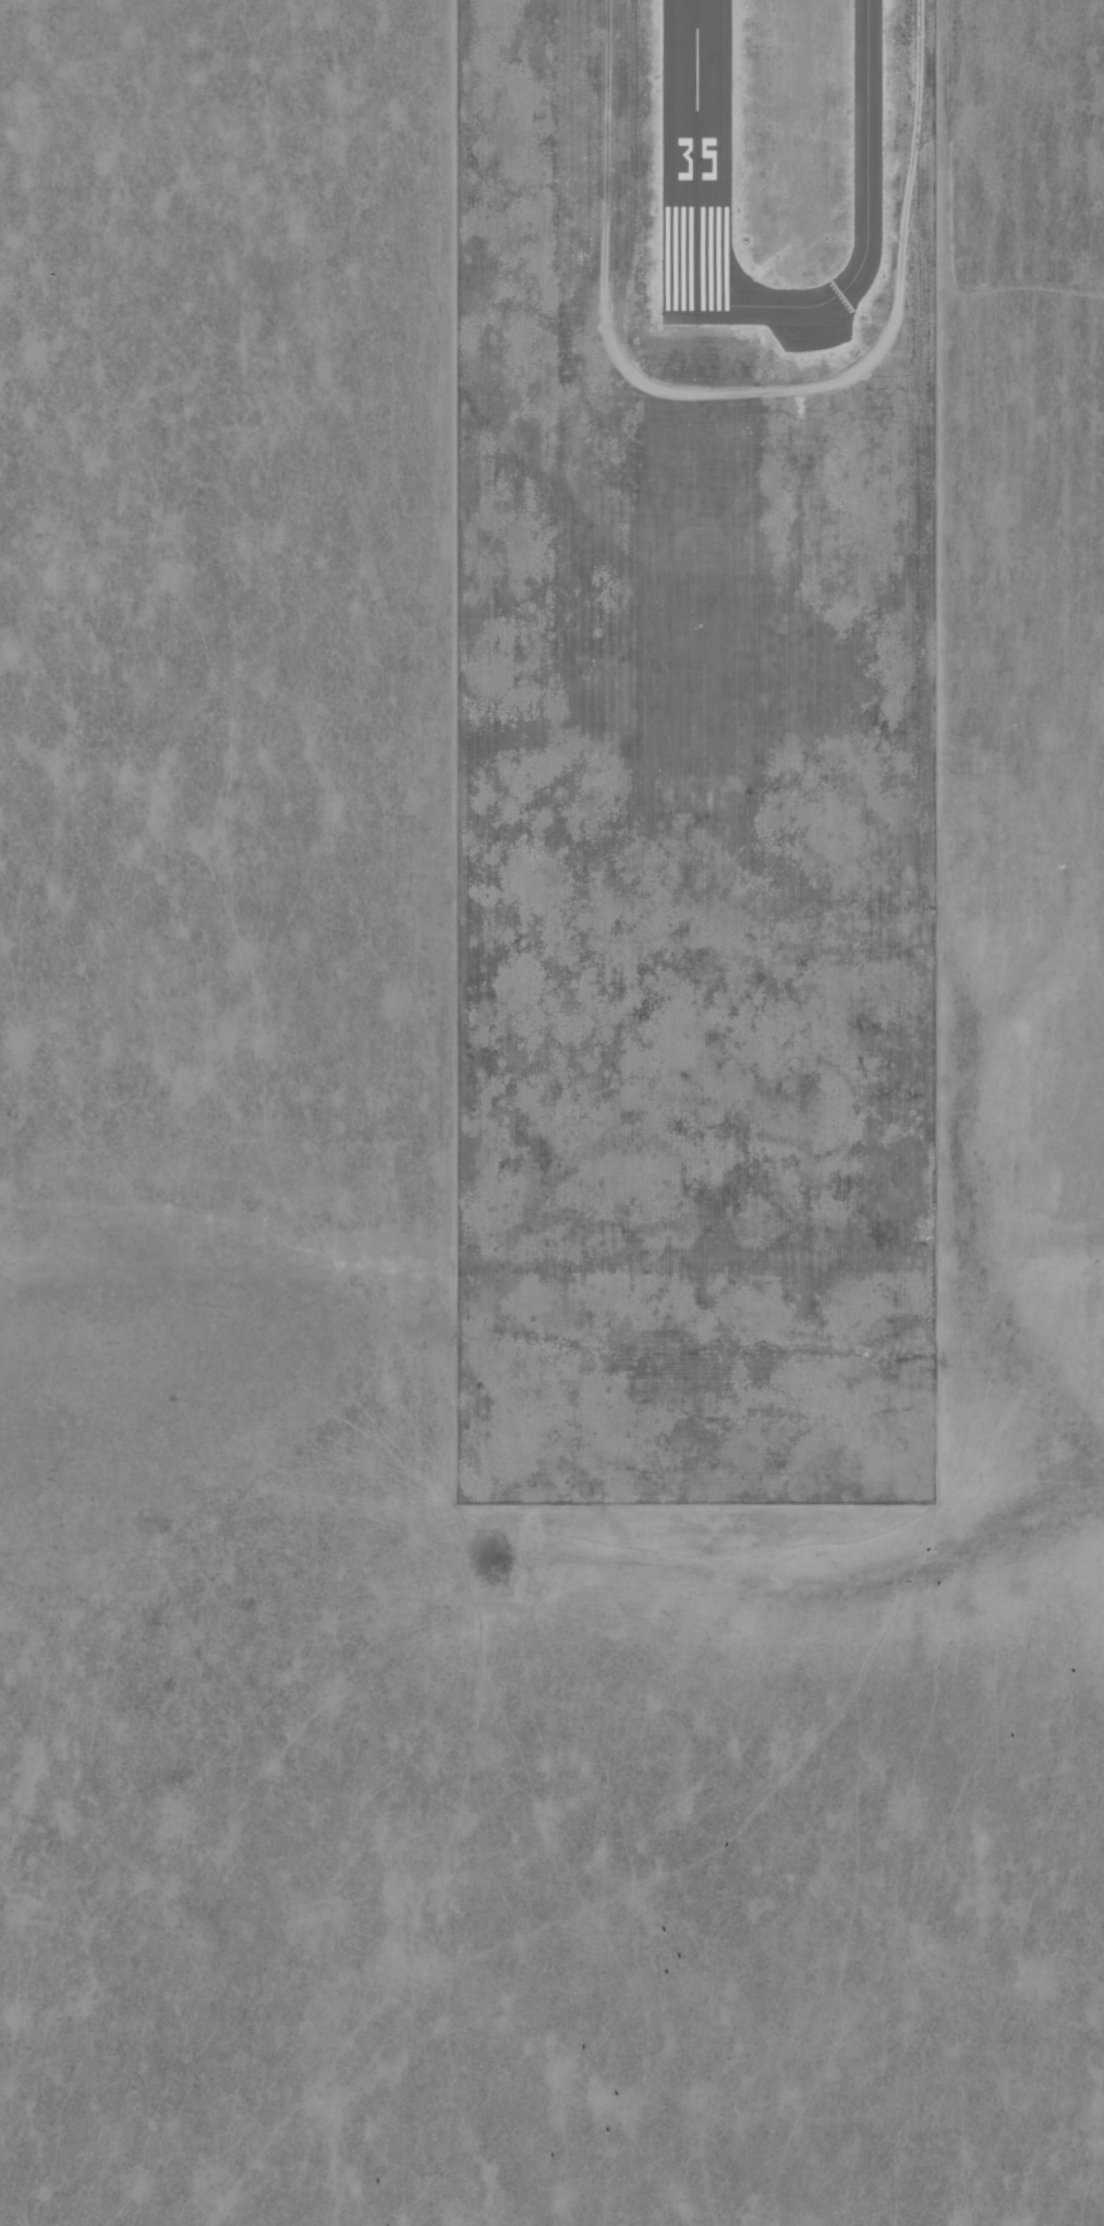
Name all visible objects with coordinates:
airport runway: (706, 164)
airport taxiway: (876, 228)
airport: (697, 754)

